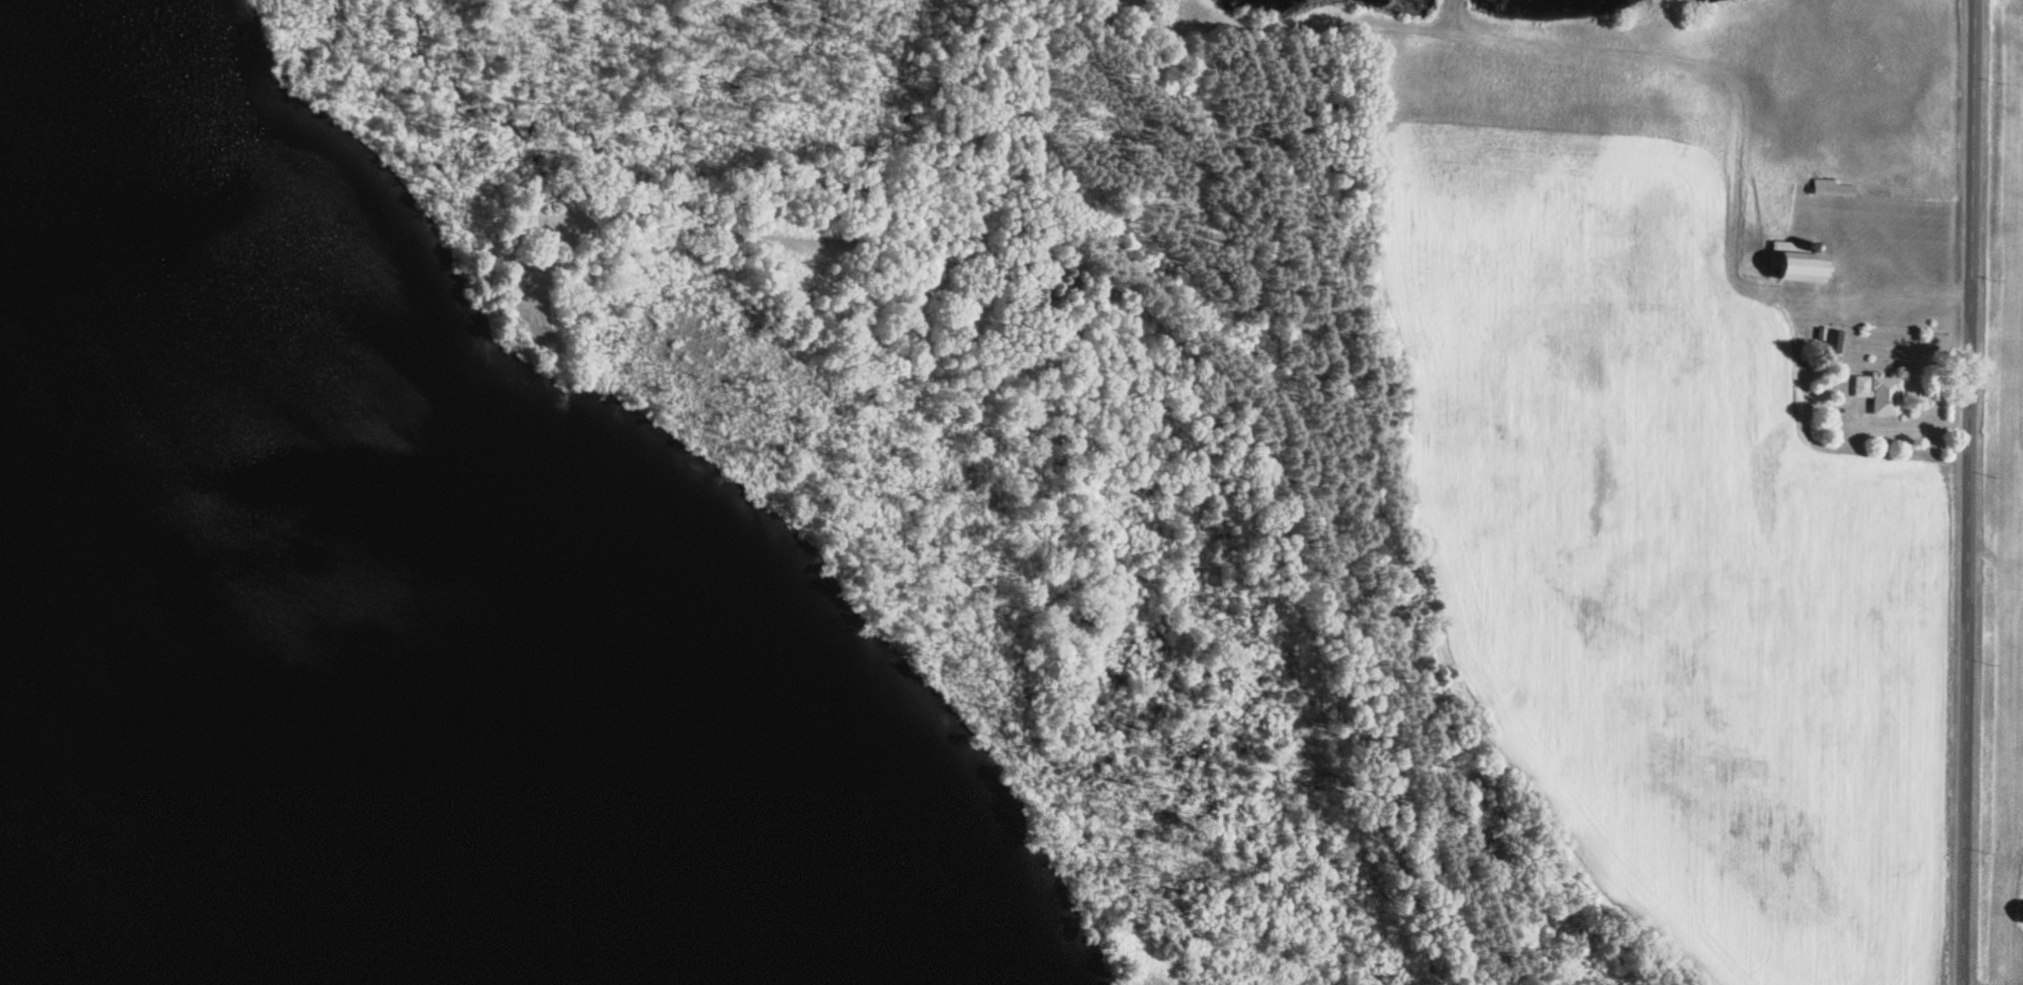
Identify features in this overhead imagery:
building: (1793, 262)
building: (1876, 393)
road: (1969, 492)
building: (2019, 914)

